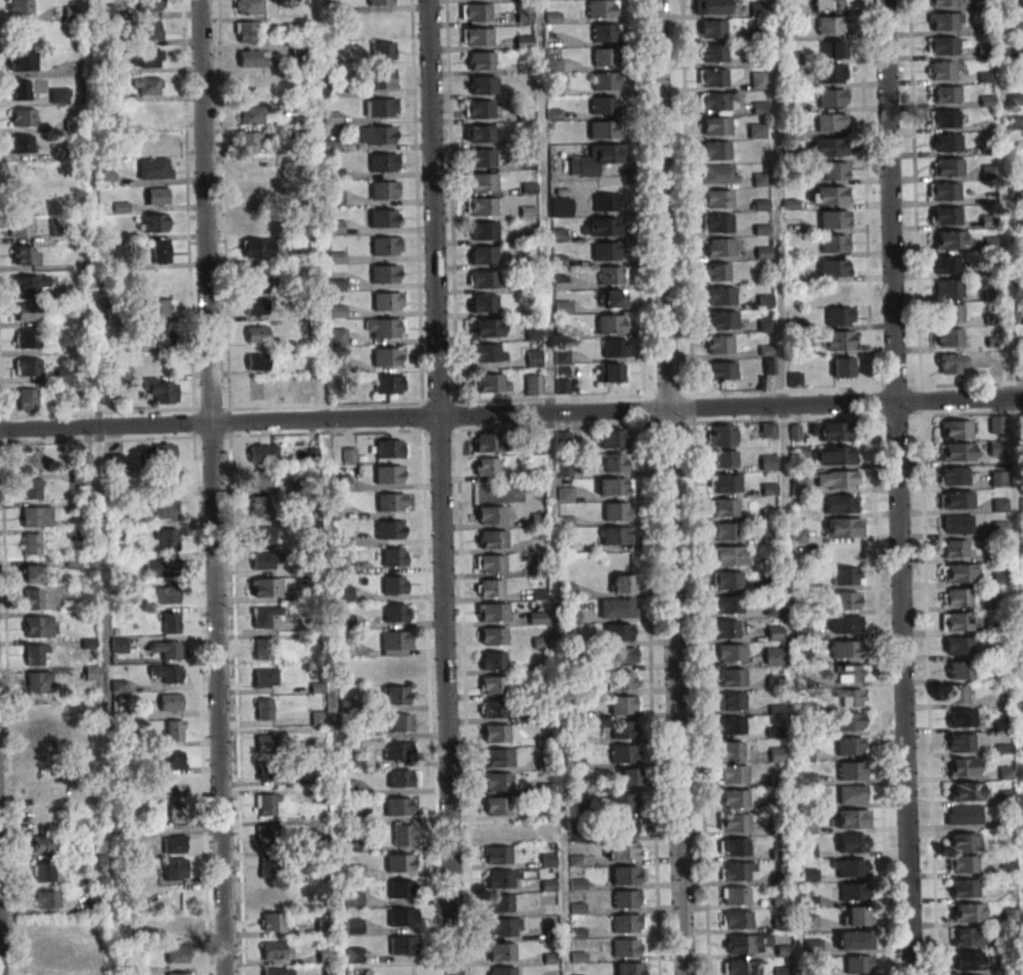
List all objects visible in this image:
building: (380, 2)
building: (944, 3)
building: (828, 4)
building: (153, 6)
building: (248, 6)
building: (20, 7)
building: (712, 7)
building: (602, 8)
building: (756, 8)
building: (71, 12)
building: (475, 12)
building: (524, 13)
building: (945, 21)
building: (829, 25)
building: (712, 29)
building: (147, 31)
building: (245, 31)
building: (605, 32)
building: (476, 36)
building: (28, 38)
building: (942, 45)
building: (833, 49)
building: (383, 51)
building: (712, 53)
building: (604, 56)
building: (146, 58)
building: (254, 58)
building: (479, 60)
building: (23, 61)
building: (944, 70)
building: (830, 74)
building: (712, 77)
building: (380, 79)
building: (606, 80)
building: (758, 80)
building: (251, 85)
building: (482, 85)
building: (148, 86)
building: (20, 90)
building: (946, 94)
building: (60, 95)
building: (831, 97)
building: (604, 105)
building: (379, 107)
building: (759, 108)
building: (480, 109)
building: (146, 114)
building: (526, 114)
building: (251, 115)
building: (23, 118)
building: (944, 118)
building: (830, 122)
building: (717, 126)
building: (603, 129)
building: (756, 131)
building: (481, 134)
building: (378, 135)
building: (251, 142)
building: (947, 142)
building: (21, 144)
building: (826, 147)
building: (716, 150)
building: (481, 158)
building: (596, 159)
building: (383, 162)
building: (527, 162)
building: (947, 167)
building: (154, 168)
building: (834, 170)
building: (285, 172)
building: (718, 174)
building: (482, 182)
building: (383, 190)
building: (944, 191)
building: (250, 195)
building: (828, 195)
building: (156, 196)
building: (716, 198)
building: (607, 202)
road: (658, 205)
building: (481, 206)
building: (560, 207)
building: (945, 215)
building: (382, 218)
building: (251, 219)
building: (833, 219)
building: (153, 223)
building: (717, 223)
building: (604, 226)
building: (20, 227)
building: (483, 230)
building: (949, 240)
building: (834, 244)
building: (386, 246)
building: (719, 247)
building: (259, 248)
building: (606, 251)
building: (160, 252)
building: (25, 255)
building: (482, 255)
building: (946, 264)
building: (834, 268)
building: (715, 272)
building: (385, 274)
building: (611, 275)
building: (254, 278)
building: (483, 279)
building: (30, 284)
building: (949, 288)
building: (835, 292)
building: (721, 295)
building: (613, 298)
building: (387, 301)
building: (483, 303)
building: (256, 306)
building: (562, 307)
building: (158, 308)
building: (27, 311)
building: (952, 312)
building: (840, 316)
building: (721, 320)
building: (611, 323)
building: (486, 327)
building: (385, 328)
building: (257, 334)
building: (337, 336)
building: (161, 337)
building: (949, 337)
building: (27, 339)
building: (838, 340)
building: (719, 344)
building: (614, 347)
building: (488, 352)
building: (389, 357)
building: (561, 357)
building: (534, 358)
building: (257, 362)
building: (952, 363)
building: (27, 367)
building: (843, 367)
building: (721, 370)
building: (613, 372)
building: (1019, 372)
building: (63, 375)
building: (490, 383)
building: (389, 384)
building: (533, 385)
building: (160, 390)
building: (109, 397)
building: (27, 399)
road: (511, 414)
building: (996, 424)
building: (955, 429)
building: (768, 430)
building: (833, 430)
building: (722, 435)
building: (562, 438)
building: (612, 438)
building: (487, 442)
building: (996, 448)
building: (389, 449)
building: (163, 452)
building: (956, 452)
building: (263, 453)
building: (349, 455)
building: (835, 455)
building: (724, 459)
building: (30, 460)
building: (615, 462)
building: (768, 463)
building: (486, 467)
building: (389, 474)
building: (954, 476)
building: (260, 478)
building: (998, 478)
building: (838, 479)
building: (725, 483)
building: (798, 483)
building: (342, 484)
building: (615, 486)
road: (209, 487)
road: (438, 487)
road: (894, 487)
building: (30, 488)
building: (956, 499)
building: (390, 502)
building: (841, 504)
building: (260, 506)
building: (723, 507)
building: (165, 510)
building: (617, 511)
building: (490, 515)
building: (36, 516)
building: (957, 524)
building: (843, 528)
building: (391, 530)
building: (724, 531)
building: (263, 534)
building: (616, 535)
building: (798, 536)
building: (166, 538)
building: (491, 539)
building: (31, 544)
building: (955, 548)
building: (728, 556)
building: (395, 557)
building: (262, 560)
building: (73, 562)
building: (490, 563)
building: (345, 564)
building: (160, 568)
building: (960, 573)
building: (33, 574)
building: (846, 576)
building: (727, 580)
building: (623, 583)
building: (394, 584)
building: (265, 587)
building: (490, 588)
building: (168, 595)
building: (956, 597)
building: (34, 599)
building: (846, 600)
building: (726, 604)
building: (618, 607)
building: (397, 612)
building: (493, 612)
building: (264, 616)
building: (538, 618)
building: (345, 621)
building: (171, 622)
building: (960, 622)
building: (844, 624)
building: (39, 626)
building: (726, 629)
building: (620, 632)
building: (802, 632)
building: (774, 633)
building: (493, 636)
building: (396, 643)
building: (118, 645)
building: (958, 646)
building: (167, 649)
building: (844, 649)
building: (267, 650)
building: (730, 653)
building: (36, 655)
building: (773, 655)
building: (622, 656)
building: (493, 660)
building: (398, 668)
building: (960, 670)
building: (167, 673)
building: (848, 673)
building: (731, 677)
building: (266, 678)
building: (625, 680)
building: (40, 682)
building: (493, 684)
road: (671, 692)
building: (956, 694)
building: (396, 695)
building: (850, 697)
building: (732, 701)
building: (169, 702)
building: (625, 704)
building: (264, 709)
building: (493, 709)
building: (39, 710)
building: (962, 718)
building: (850, 721)
building: (397, 722)
building: (731, 725)
building: (624, 729)
building: (173, 730)
building: (776, 731)
building: (496, 733)
building: (41, 738)
building: (961, 742)
building: (268, 746)
building: (851, 746)
building: (730, 750)
building: (398, 751)
building: (623, 753)
building: (777, 755)
building: (497, 757)
building: (172, 760)
building: (963, 767)
building: (851, 770)
building: (269, 771)
building: (734, 774)
building: (629, 777)
building: (401, 778)
building: (497, 781)
building: (349, 788)
building: (965, 791)
building: (853, 794)
building: (735, 798)
building: (624, 802)
building: (267, 804)
building: (497, 805)
building: (398, 806)
building: (177, 814)
building: (963, 815)
building: (850, 818)
building: (735, 822)
building: (625, 826)
building: (499, 830)
building: (267, 835)
building: (404, 835)
building: (963, 842)
building: (853, 843)
building: (44, 844)
building: (174, 844)
building: (734, 846)
building: (625, 851)
building: (497, 855)
building: (400, 863)
building: (963, 864)
building: (269, 867)
building: (850, 867)
building: (175, 869)
building: (737, 871)
building: (45, 872)
building: (627, 875)
building: (501, 879)
building: (964, 888)
building: (402, 889)
building: (853, 891)
building: (270, 896)
building: (735, 896)
building: (627, 898)
building: (354, 899)
building: (47, 900)
building: (500, 903)
building: (967, 913)
building: (857, 916)
building: (402, 917)
building: (736, 920)
building: (272, 921)
building: (627, 923)
building: (178, 925)
building: (353, 926)
building: (503, 927)
building: (549, 932)
building: (968, 936)
building: (854, 940)
building: (749, 943)
building: (402, 945)
building: (626, 947)
building: (273, 950)
building: (501, 951)
building: (325, 953)
building: (178, 954)
building: (48, 955)
building: (353, 955)
building: (969, 960)
building: (95, 962)
building: (859, 964)
building: (742, 967)
building: (625, 968)
building: (276, 971)
building: (502, 971)
building: (50, 974)
building: (180, 974)

